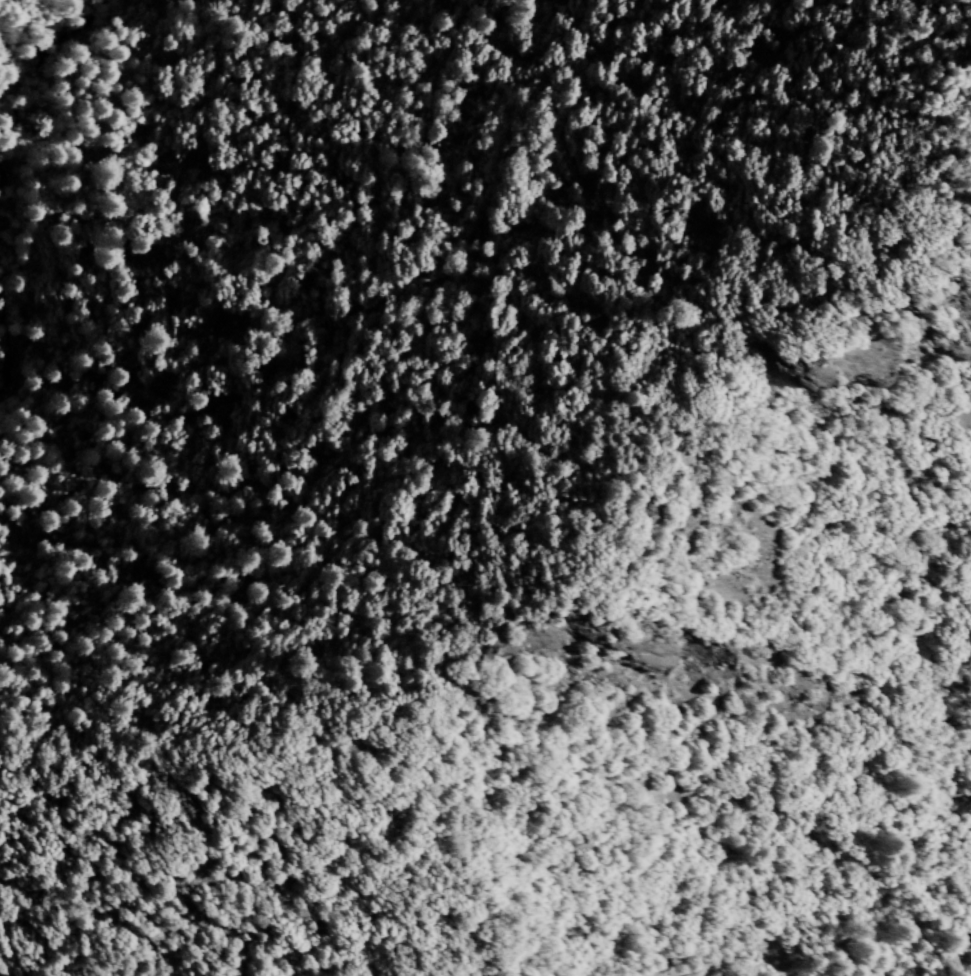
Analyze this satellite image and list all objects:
road: (5, 5)
park: (448, 81)
park: (215, 134)
park: (673, 488)
road: (951, 973)

